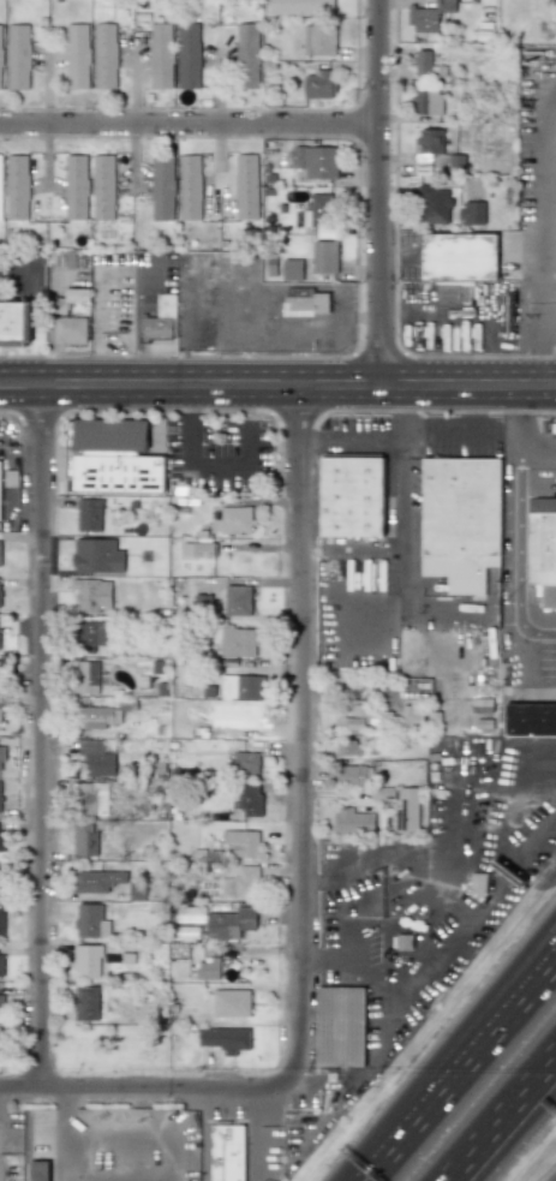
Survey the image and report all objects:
building: (301, 7)
building: (429, 16)
building: (321, 37)
building: (77, 55)
building: (106, 55)
building: (160, 55)
building: (189, 55)
building: (247, 55)
building: (16, 56)
building: (426, 64)
building: (0, 67)
building: (321, 84)
building: (429, 101)
road: (189, 124)
building: (431, 141)
building: (317, 161)
building: (455, 162)
building: (247, 185)
building: (1, 186)
building: (89, 187)
building: (162, 187)
building: (190, 187)
building: (17, 189)
road: (378, 191)
building: (434, 203)
building: (315, 211)
building: (471, 211)
building: (67, 258)
building: (324, 260)
building: (460, 263)
building: (292, 268)
road: (18, 272)
building: (307, 302)
road: (134, 311)
building: (71, 318)
building: (161, 320)
road: (542, 322)
building: (16, 323)
road: (98, 326)
road: (243, 382)
road: (549, 384)
road: (501, 386)
road: (528, 386)
road: (549, 387)
road: (417, 435)
road: (515, 435)
road: (1, 448)
building: (112, 458)
road: (195, 469)
building: (0, 490)
building: (352, 497)
building: (89, 512)
building: (235, 520)
building: (464, 520)
road: (520, 530)
road: (400, 541)
building: (542, 547)
building: (199, 549)
building: (0, 553)
building: (91, 595)
building: (238, 600)
road: (539, 614)
building: (88, 636)
building: (239, 640)
road: (524, 655)
building: (0, 674)
building: (88, 676)
building: (244, 686)
road: (542, 697)
building: (0, 715)
building: (413, 716)
building: (98, 717)
building: (363, 718)
building: (531, 720)
road: (41, 733)
road: (300, 734)
building: (349, 747)
building: (2, 754)
building: (96, 757)
building: (246, 762)
building: (351, 775)
building: (384, 793)
building: (0, 795)
building: (94, 798)
building: (250, 799)
building: (406, 810)
building: (353, 821)
building: (2, 836)
building: (85, 840)
building: (243, 841)
building: (0, 864)
building: (0, 879)
building: (97, 879)
building: (246, 881)
building: (478, 883)
building: (190, 915)
building: (1, 919)
building: (90, 920)
building: (229, 923)
building: (2, 960)
building: (90, 961)
building: (209, 967)
building: (1, 1001)
building: (231, 1001)
building: (88, 1003)
road: (497, 1003)
road: (498, 1020)
building: (340, 1026)
building: (227, 1039)
building: (0, 1051)
road: (149, 1085)
road: (521, 1093)
road: (521, 1102)
road: (400, 1132)
building: (227, 1152)
road: (467, 1157)
road: (122, 1169)
building: (36, 1170)
road: (184, 1174)

